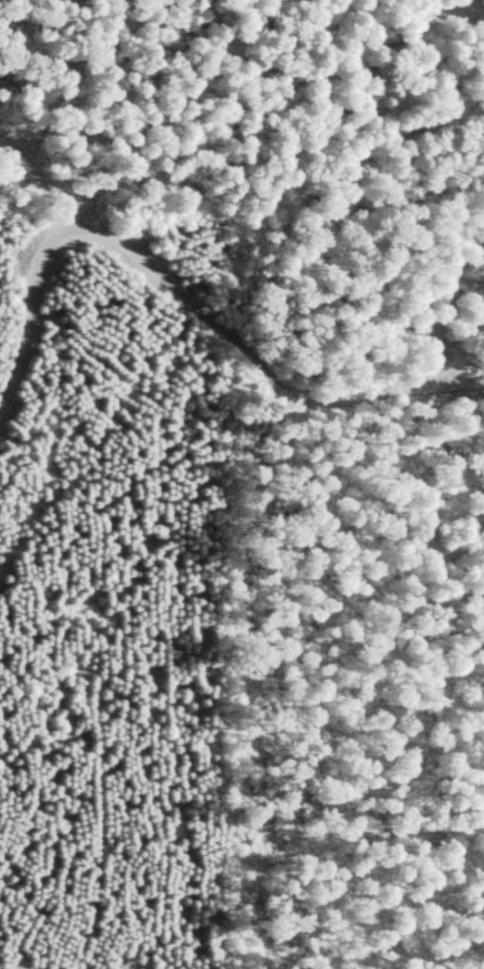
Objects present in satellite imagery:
road: (390, 24)
road: (189, 302)

